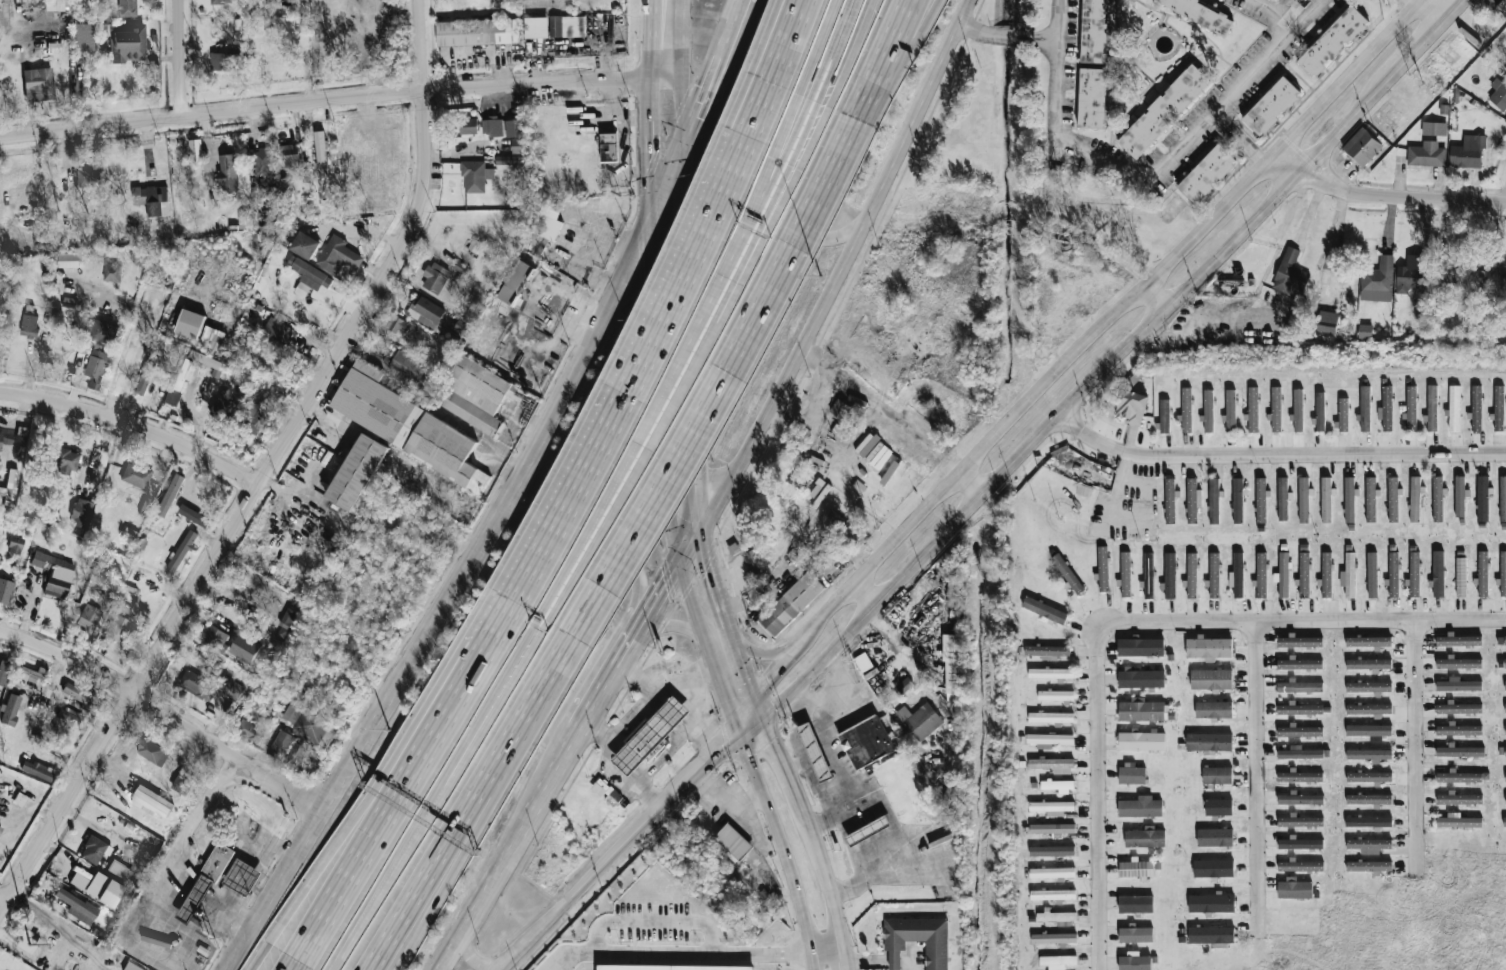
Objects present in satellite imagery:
building: (529, 0)
building: (221, 2)
building: (56, 5)
building: (1502, 6)
road: (1427, 7)
building: (128, 8)
road: (1279, 12)
road: (1314, 12)
building: (1202, 13)
road: (791, 23)
building: (555, 27)
building: (1093, 31)
building: (479, 32)
road: (731, 33)
road: (1012, 33)
road: (663, 35)
building: (83, 37)
building: (1333, 41)
building: (126, 42)
road: (787, 42)
road: (815, 47)
road: (828, 50)
road: (835, 51)
road: (850, 54)
road: (180, 58)
road: (880, 59)
building: (222, 61)
road: (905, 61)
building: (38, 84)
building: (1499, 96)
road: (331, 98)
building: (1092, 98)
road: (680, 103)
road: (702, 103)
traffic signals: (702, 104)
building: (1271, 106)
building: (1164, 110)
building: (492, 126)
building: (468, 127)
building: (510, 128)
building: (1434, 128)
road: (1239, 139)
road: (646, 144)
building: (519, 146)
building: (608, 147)
building: (1362, 147)
building: (195, 150)
building: (1470, 151)
building: (321, 154)
building: (351, 156)
building: (1427, 156)
road: (837, 157)
building: (509, 159)
road: (842, 159)
building: (292, 161)
building: (264, 162)
traffic signals: (646, 166)
road: (1325, 169)
building: (229, 172)
building: (1207, 173)
building: (89, 175)
building: (474, 177)
road: (1141, 177)
road: (666, 182)
road: (738, 192)
road: (756, 194)
traffic signals: (687, 196)
road: (1385, 196)
road: (763, 197)
building: (155, 200)
road: (767, 212)
road: (773, 215)
building: (245, 221)
road: (13, 227)
building: (542, 230)
building: (305, 245)
building: (474, 245)
building: (339, 255)
road: (850, 255)
building: (68, 259)
building: (34, 266)
building: (461, 268)
building: (112, 272)
building: (308, 272)
building: (1290, 274)
building: (1382, 276)
building: (1485, 277)
building: (436, 278)
building: (1420, 279)
road: (1152, 297)
road: (1124, 303)
building: (69, 304)
building: (521, 304)
building: (426, 311)
building: (395, 324)
building: (29, 325)
building: (277, 330)
building: (1365, 331)
building: (104, 332)
building: (188, 333)
road: (692, 333)
building: (212, 338)
road: (137, 340)
road: (648, 346)
building: (210, 362)
building: (403, 367)
building: (97, 368)
road: (1101, 372)
building: (147, 374)
building: (184, 374)
road: (659, 393)
building: (473, 394)
building: (226, 406)
building: (1131, 406)
building: (1431, 407)
building: (1476, 407)
building: (1499, 407)
building: (1252, 408)
building: (1365, 408)
building: (1386, 408)
building: (1411, 408)
building: (1454, 408)
building: (1186, 409)
building: (1275, 409)
building: (1298, 409)
road: (883, 410)
building: (1208, 410)
building: (1230, 410)
building: (256, 411)
building: (1320, 411)
building: (843, 413)
building: (1343, 414)
building: (1164, 416)
road: (700, 417)
building: (406, 425)
road: (133, 426)
building: (0, 440)
building: (869, 445)
building: (874, 451)
road: (1278, 455)
road: (628, 456)
building: (881, 457)
building: (64, 462)
road: (633, 472)
building: (889, 472)
road: (265, 473)
building: (358, 473)
building: (136, 476)
building: (794, 477)
road: (971, 481)
building: (858, 486)
building: (11, 487)
building: (170, 495)
building: (1459, 496)
building: (1283, 498)
building: (1415, 498)
building: (1482, 498)
building: (1502, 498)
building: (197, 499)
building: (1303, 499)
building: (1326, 499)
building: (1349, 499)
building: (1370, 499)
building: (1392, 499)
building: (1437, 499)
building: (1170, 500)
building: (1193, 500)
building: (1214, 500)
building: (1237, 500)
building: (1261, 500)
road: (1113, 503)
building: (144, 508)
building: (81, 512)
road: (710, 514)
building: (194, 516)
traffic signals: (673, 518)
building: (843, 525)
building: (129, 533)
building: (142, 543)
road: (580, 543)
building: (15, 544)
building: (733, 548)
building: (179, 555)
traffic signals: (710, 562)
building: (1103, 568)
road: (676, 570)
building: (54, 573)
building: (1067, 573)
building: (1125, 573)
building: (1414, 573)
building: (1438, 573)
building: (1483, 573)
building: (1503, 573)
building: (1214, 574)
building: (1238, 574)
building: (1304, 574)
building: (1326, 574)
building: (1372, 574)
building: (1393, 574)
road: (713, 575)
building: (1149, 575)
building: (1170, 575)
building: (1192, 575)
building: (1261, 575)
building: (1282, 575)
building: (1348, 575)
building: (1461, 576)
traffic signals: (666, 589)
building: (956, 590)
building: (5, 592)
road: (862, 595)
road: (440, 598)
building: (792, 604)
road: (693, 608)
building: (1045, 610)
building: (287, 617)
road: (504, 617)
building: (89, 618)
road: (1302, 620)
road: (671, 626)
building: (116, 630)
road: (812, 630)
road: (731, 632)
building: (215, 637)
building: (1502, 639)
building: (1459, 640)
building: (1300, 641)
building: (1368, 641)
road: (635, 644)
building: (1141, 647)
building: (1209, 647)
building: (1047, 651)
road: (759, 653)
road: (520, 655)
road: (522, 657)
building: (863, 662)
building: (1300, 663)
building: (1368, 663)
building: (1458, 663)
building: (1505, 663)
road: (743, 667)
building: (954, 668)
building: (3, 671)
building: (1050, 673)
building: (27, 674)
road: (639, 677)
traffic signals: (769, 678)
building: (1141, 678)
building: (1211, 679)
building: (195, 683)
building: (1458, 684)
building: (904, 685)
building: (1505, 685)
building: (1299, 686)
building: (1369, 686)
road: (759, 688)
building: (233, 689)
road: (723, 690)
building: (79, 695)
building: (1055, 696)
road: (647, 697)
traffic signals: (726, 698)
road: (602, 699)
road: (694, 703)
road: (807, 703)
building: (1505, 707)
building: (1459, 708)
building: (1213, 709)
building: (1300, 709)
building: (1369, 709)
building: (10, 710)
building: (1144, 710)
road: (164, 713)
building: (293, 714)
building: (68, 716)
building: (1050, 717)
building: (920, 721)
building: (1505, 729)
building: (1459, 730)
building: (250, 731)
building: (1299, 731)
building: (1369, 731)
building: (651, 735)
gas station: (651, 735)
building: (867, 740)
building: (1050, 740)
building: (1141, 740)
traffic signals: (772, 741)
building: (1209, 741)
traffic signals: (721, 742)
building: (47, 743)
building: (281, 744)
road: (1415, 747)
building: (152, 751)
building: (816, 751)
gas station: (816, 751)
building: (1461, 751)
building: (1505, 751)
road: (663, 753)
building: (1300, 753)
building: (1368, 754)
building: (295, 756)
road: (780, 763)
road: (792, 764)
building: (1052, 764)
building: (36, 770)
building: (1132, 774)
building: (1217, 775)
building: (1300, 776)
building: (1369, 776)
building: (1462, 776)
building: (1505, 776)
road: (1257, 777)
road: (557, 779)
building: (183, 782)
building: (1057, 784)
road: (864, 788)
building: (606, 790)
road: (820, 790)
road: (1098, 796)
road: (368, 797)
building: (1369, 798)
building: (1460, 798)
building: (1505, 798)
building: (1300, 799)
building: (9, 800)
building: (153, 801)
road: (392, 801)
road: (747, 801)
road: (484, 805)
building: (1052, 807)
building: (1140, 807)
building: (1218, 807)
road: (836, 810)
road: (734, 811)
building: (1299, 821)
building: (1368, 821)
building: (1460, 821)
building: (1504, 821)
building: (0, 828)
building: (1052, 829)
building: (869, 830)
gas station: (869, 830)
road: (413, 831)
building: (1145, 837)
building: (1215, 837)
road: (625, 840)
building: (733, 841)
building: (1300, 843)
building: (1369, 844)
road: (781, 847)
building: (93, 850)
building: (1052, 850)
building: (1300, 866)
building: (1369, 866)
building: (1213, 868)
building: (1136, 869)
building: (119, 871)
building: (1051, 873)
building: (241, 878)
building: (204, 883)
road: (160, 888)
road: (828, 888)
building: (1294, 888)
building: (103, 890)
building: (1053, 894)
road: (4, 897)
road: (486, 899)
building: (1136, 903)
building: (1211, 903)
building: (73, 909)
building: (1058, 917)
parking lot: (652, 922)
road: (653, 923)
building: (1136, 934)
building: (1212, 935)
building: (919, 937)
building: (1054, 938)
building: (38, 943)
road: (826, 951)
parking lot: (920, 955)
road: (674, 956)
road: (845, 959)
road: (895, 959)
building: (75, 960)
road: (867, 960)
building: (895, 960)
road: (909, 960)
building: (1057, 961)
road: (510, 962)
building: (1135, 962)
road: (482, 963)
road: (559, 964)
building: (130, 967)
building: (670, 967)

